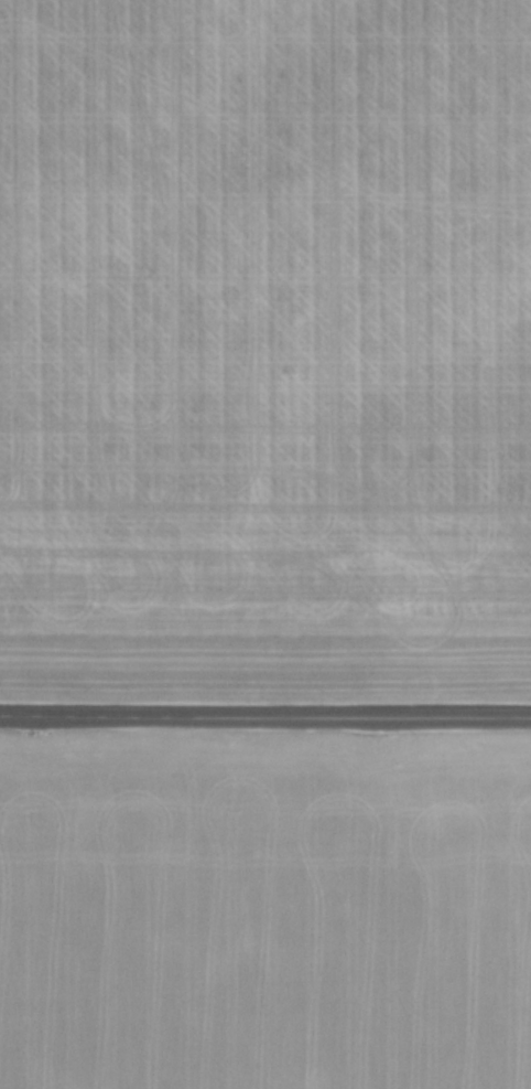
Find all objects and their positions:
road: (264, 716)

